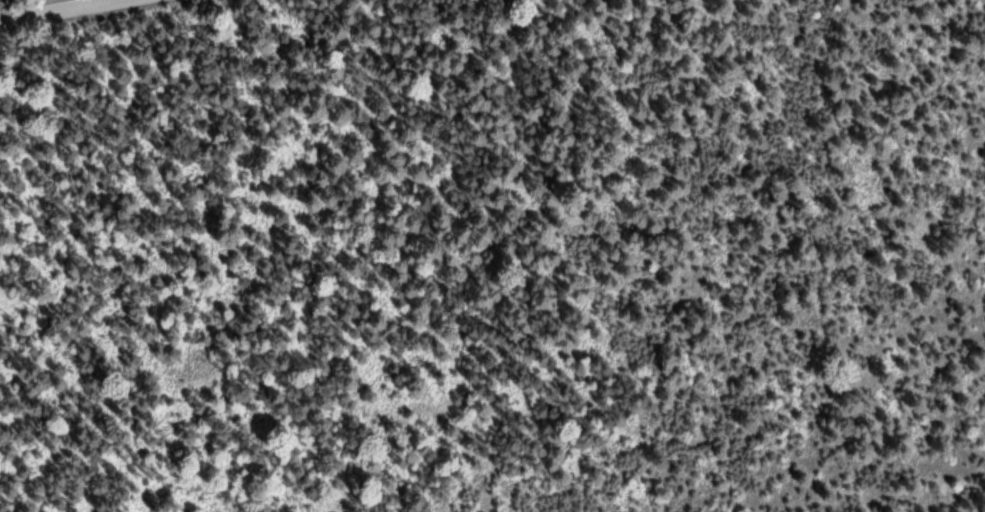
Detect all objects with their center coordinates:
road: (56, 10)

